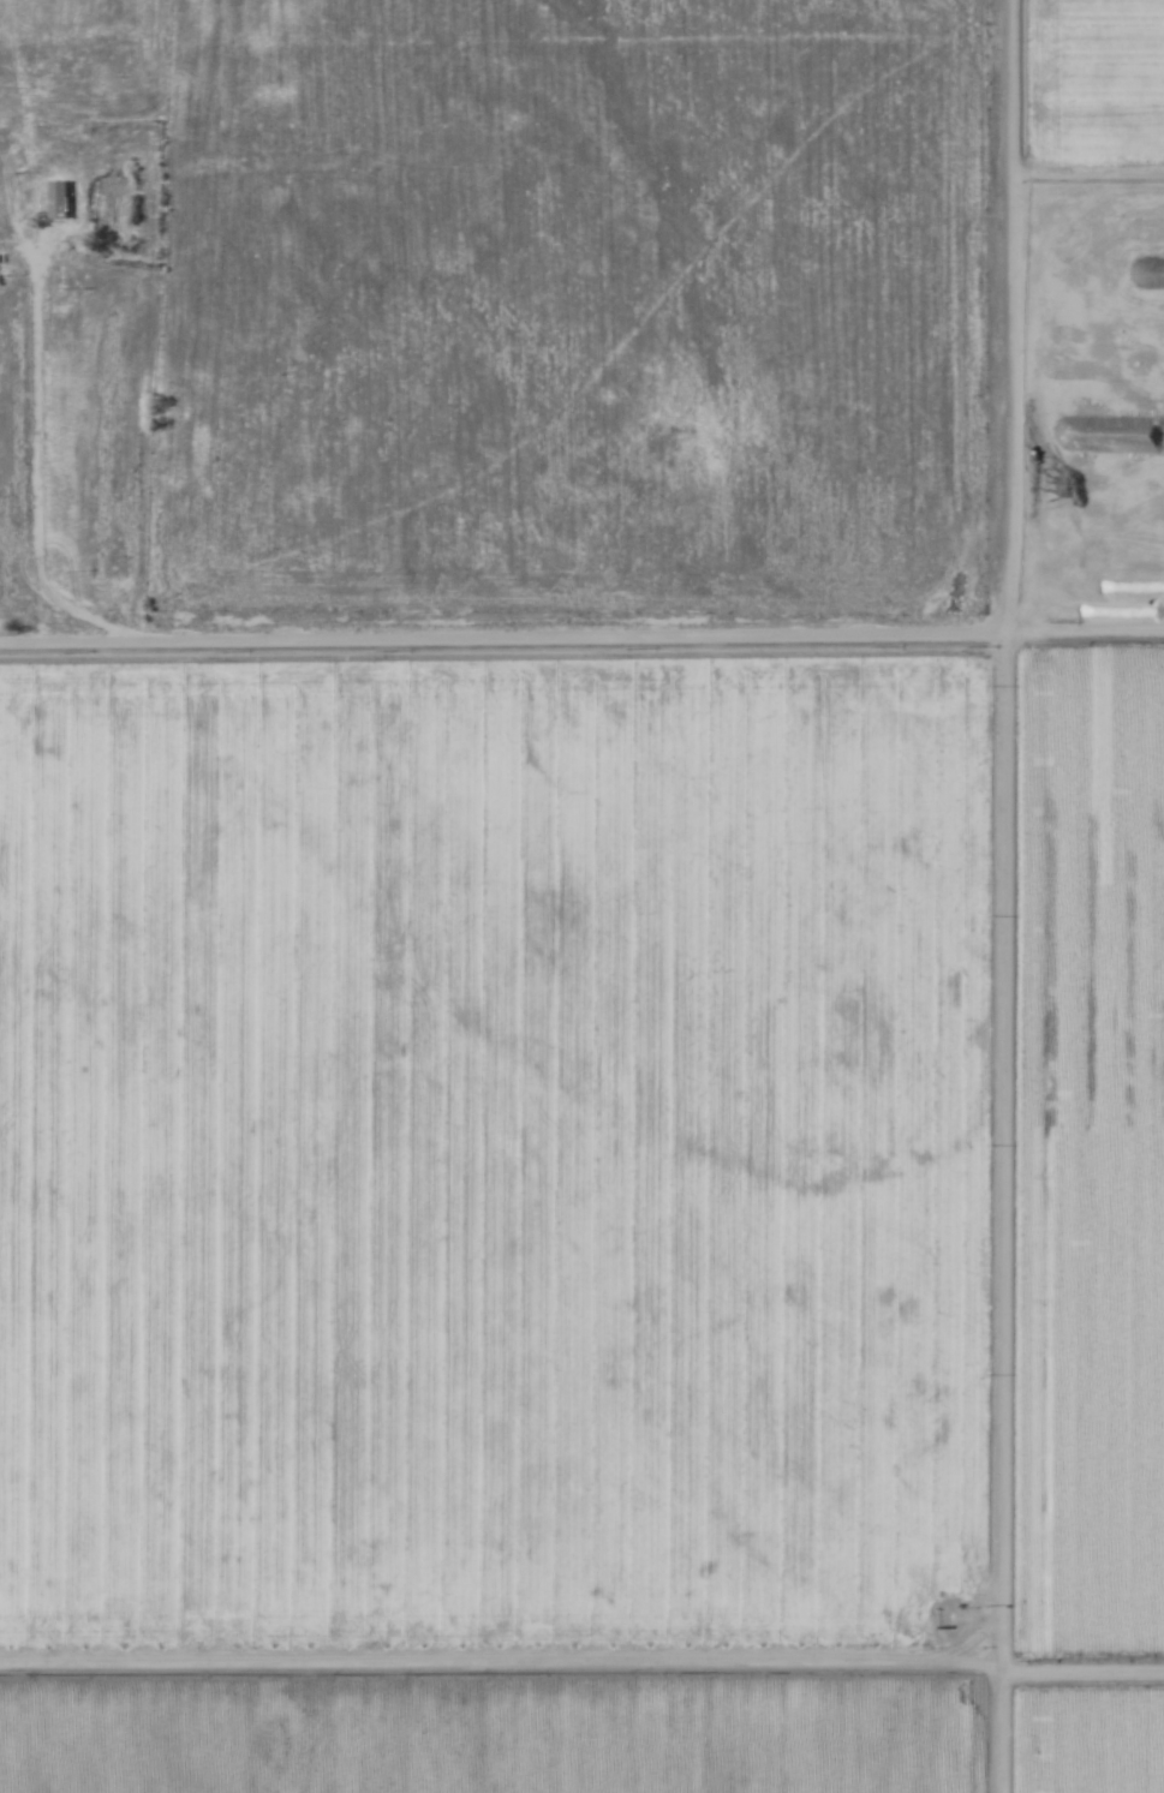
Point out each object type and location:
building: (58, 201)
road: (501, 630)
road: (1084, 635)
road: (1002, 896)
road: (1081, 1667)

